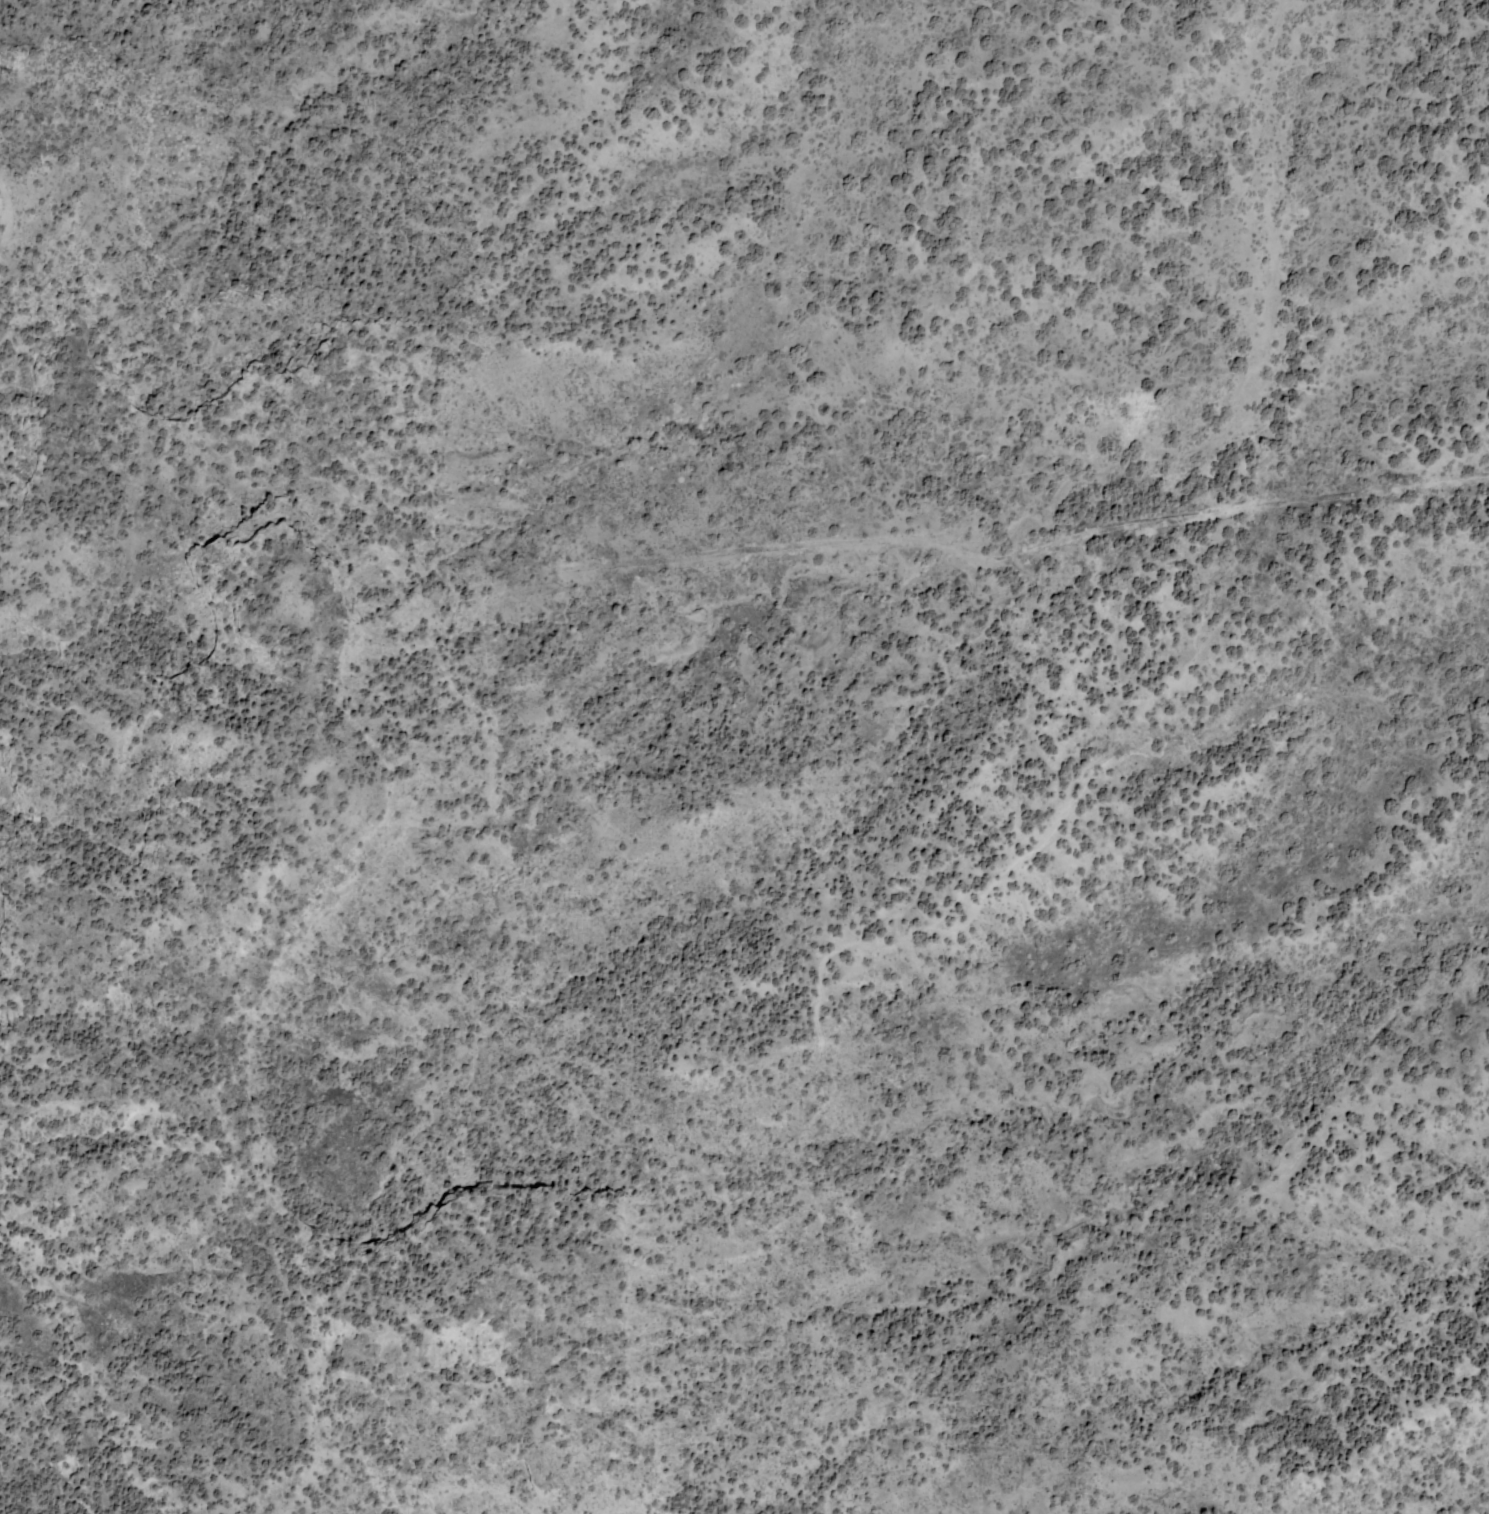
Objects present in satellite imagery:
power tower: (4, 75)

